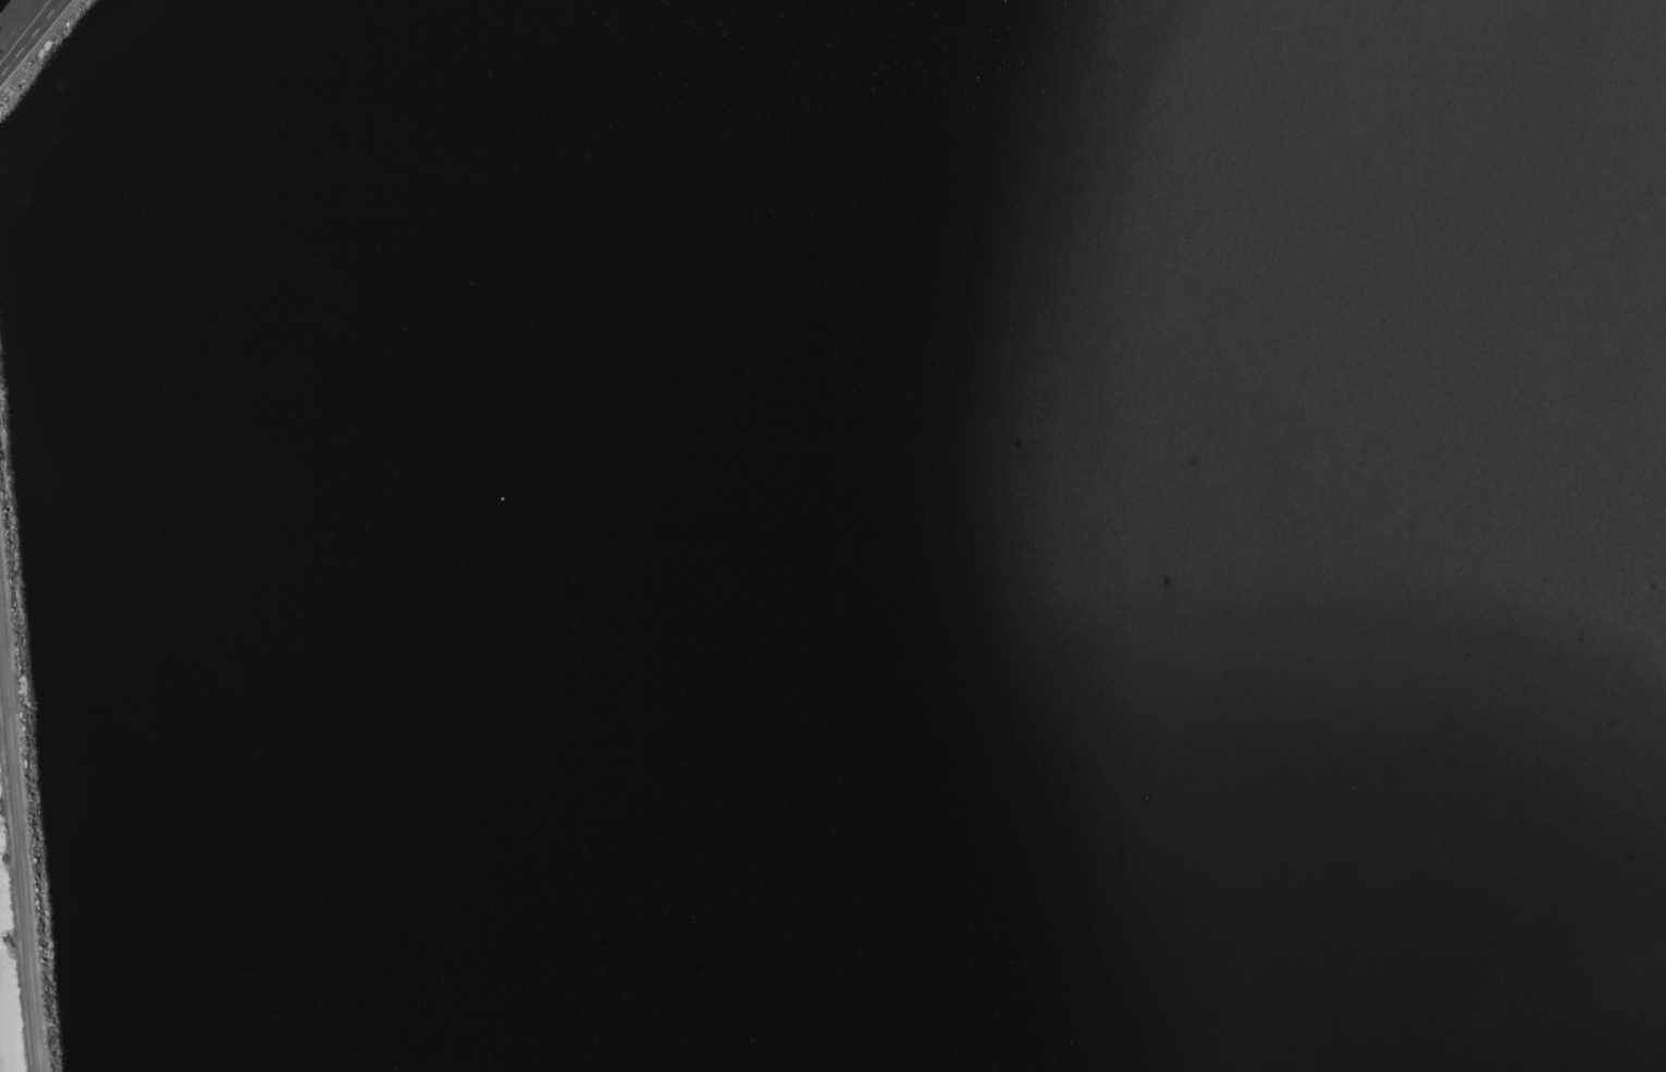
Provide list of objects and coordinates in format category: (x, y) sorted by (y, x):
road: (25, 33)
road: (30, 39)
airport: (32, 40)
airport: (21, 845)

